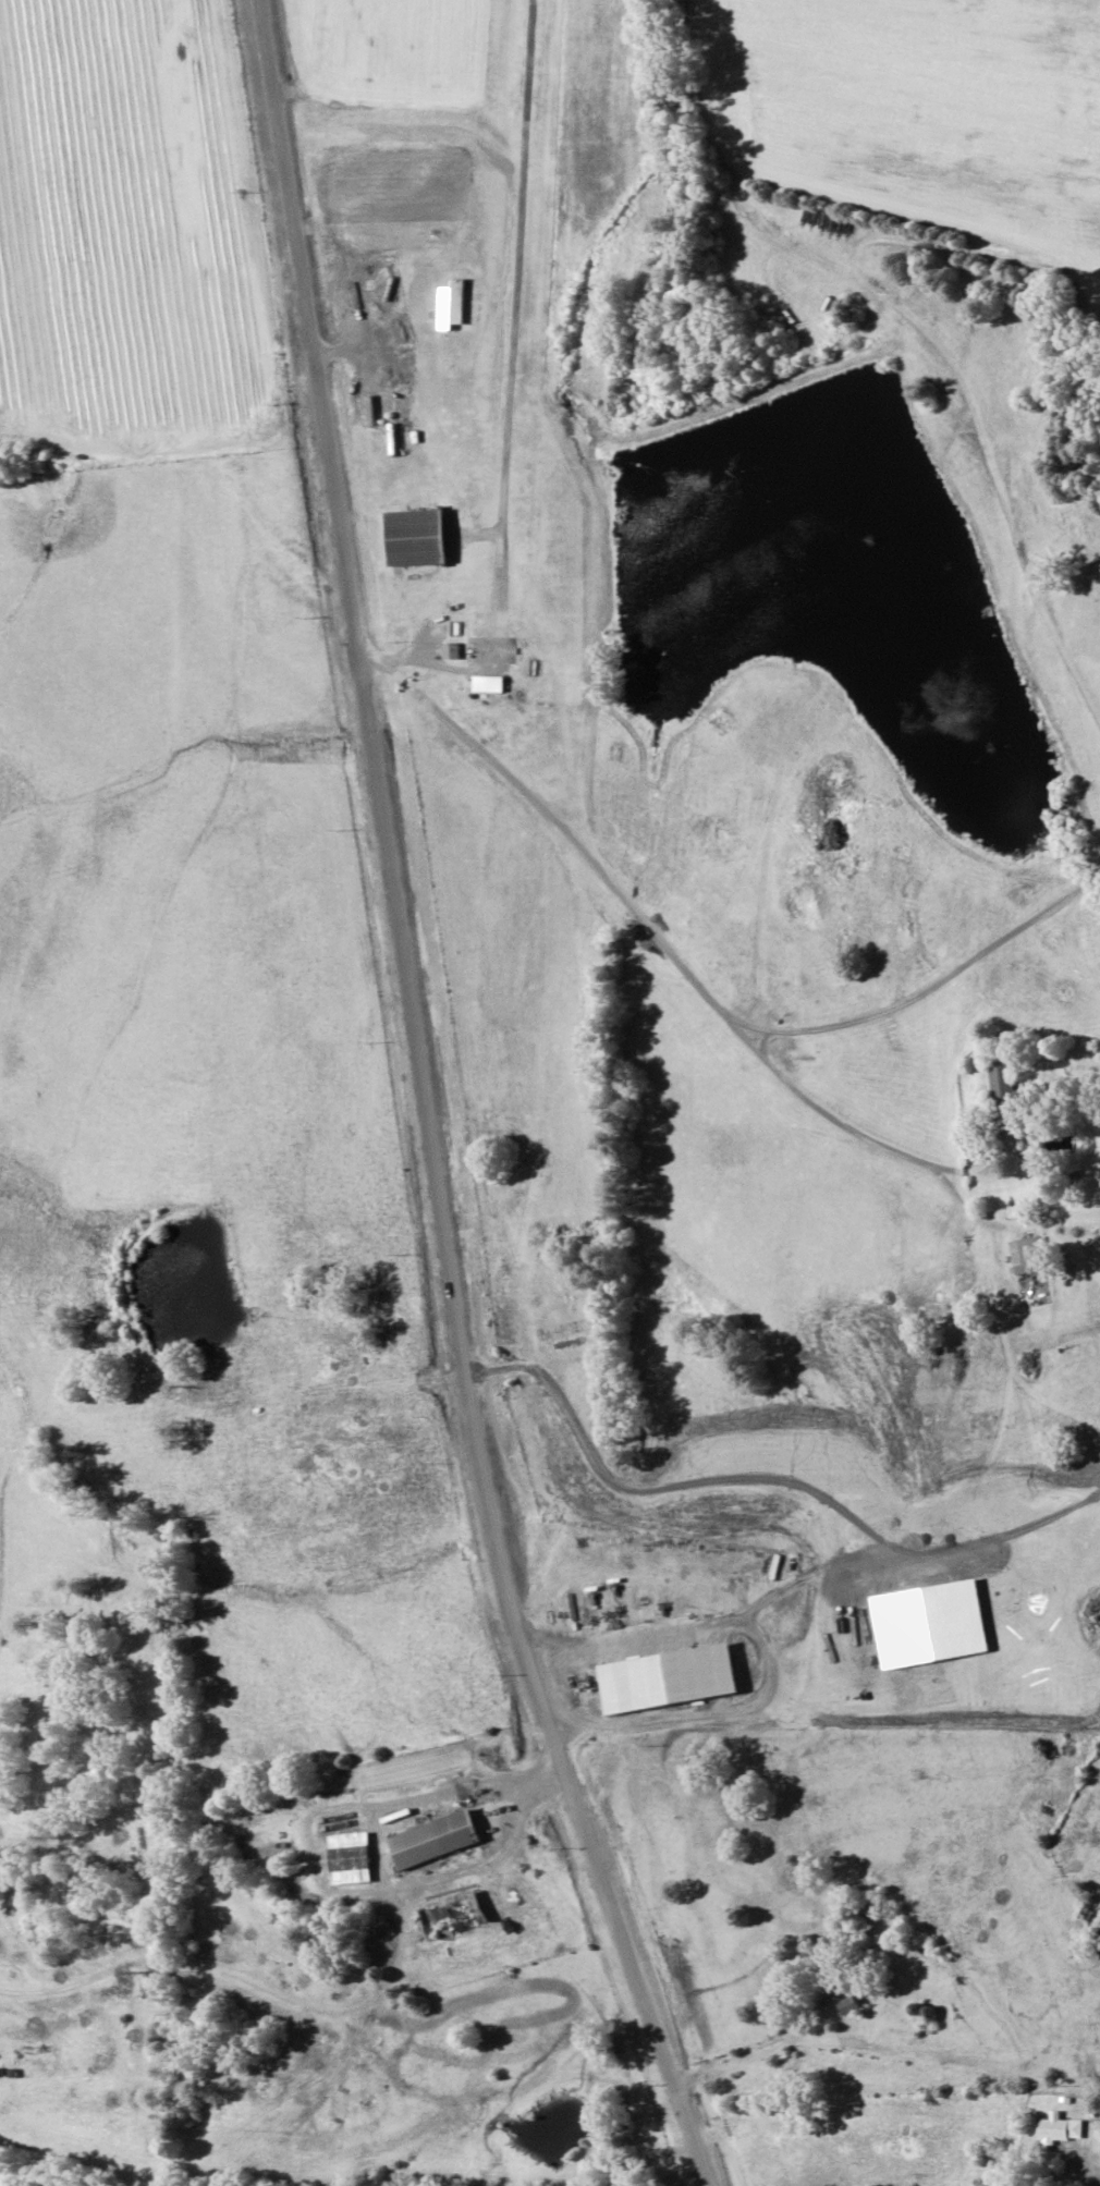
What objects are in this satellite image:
airport runway: (527, 264)
building: (448, 306)
airport hangar: (429, 533)
building: (429, 533)
airport taxiway: (511, 551)
building: (998, 1080)
road: (438, 1109)
building: (1024, 1256)
building: (1043, 1806)
building: (427, 1842)
building: (344, 1859)
building: (445, 1919)
building: (1058, 2132)

